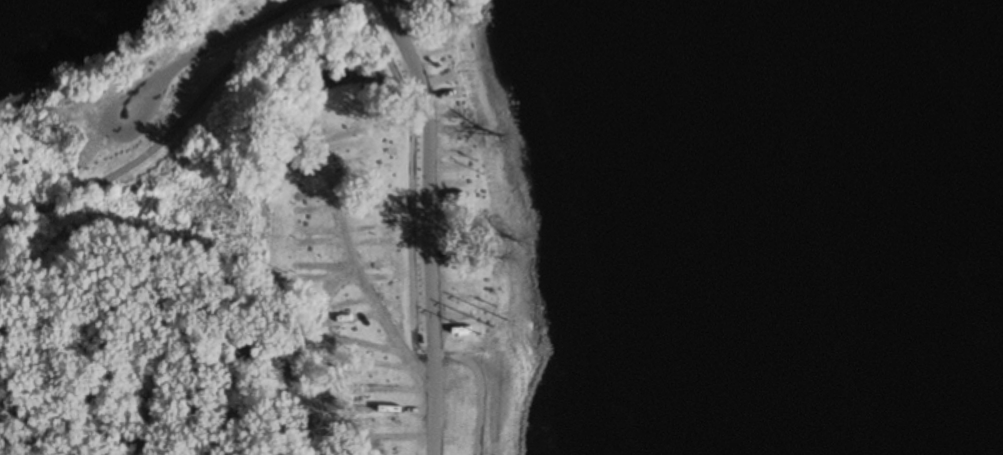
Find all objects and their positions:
road: (381, 38)
road: (212, 47)
power tower: (68, 146)
road: (432, 224)
river: (898, 227)
park: (271, 238)
power tower: (486, 322)

